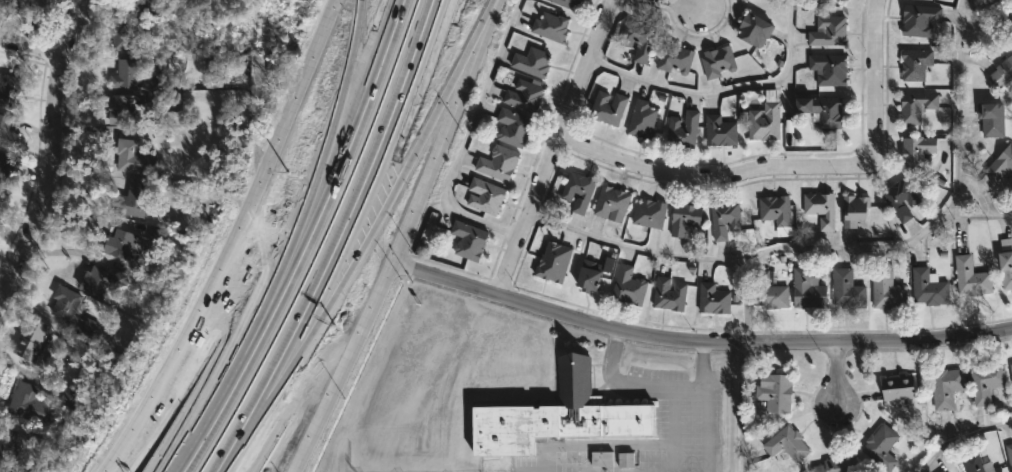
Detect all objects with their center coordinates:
building: (743, 0)
building: (844, 0)
building: (567, 4)
building: (23, 5)
road: (675, 6)
building: (147, 7)
building: (919, 20)
building: (550, 27)
building: (754, 30)
building: (828, 31)
building: (122, 35)
building: (638, 39)
road: (30, 47)
building: (674, 59)
building: (717, 62)
building: (531, 63)
building: (915, 64)
building: (828, 69)
building: (1002, 74)
building: (123, 75)
road: (720, 87)
road: (453, 88)
building: (8, 91)
building: (524, 97)
building: (915, 107)
building: (607, 108)
road: (334, 110)
building: (122, 111)
building: (821, 111)
building: (992, 119)
building: (642, 120)
building: (764, 123)
building: (512, 128)
building: (682, 130)
building: (719, 131)
building: (6, 134)
road: (464, 138)
road: (47, 139)
road: (550, 146)
building: (916, 150)
road: (377, 156)
building: (131, 158)
building: (497, 164)
building: (998, 167)
building: (5, 168)
road: (788, 170)
road: (402, 173)
building: (577, 191)
road: (974, 192)
building: (484, 196)
building: (1, 197)
building: (131, 200)
building: (900, 200)
building: (611, 204)
building: (820, 209)
building: (775, 210)
building: (854, 211)
building: (649, 214)
road: (979, 216)
building: (684, 218)
building: (724, 220)
road: (402, 238)
building: (468, 241)
road: (299, 242)
road: (232, 243)
building: (112, 244)
road: (844, 247)
road: (286, 262)
building: (553, 263)
building: (1006, 264)
building: (607, 265)
road: (1, 269)
road: (340, 270)
building: (588, 278)
building: (971, 278)
building: (99, 282)
building: (628, 287)
building: (928, 288)
building: (846, 290)
building: (886, 290)
building: (769, 291)
building: (807, 291)
building: (669, 295)
building: (713, 299)
building: (63, 303)
building: (28, 338)
road: (697, 346)
road: (702, 353)
building: (1011, 362)
building: (1011, 368)
road: (701, 374)
road: (829, 379)
building: (987, 382)
road: (632, 383)
building: (898, 386)
building: (947, 386)
road: (265, 390)
building: (775, 392)
building: (28, 404)
building: (557, 415)
road: (706, 429)
road: (958, 434)
building: (786, 443)
building: (8, 444)
building: (881, 446)
building: (1009, 453)
building: (601, 459)
building: (973, 463)
building: (838, 464)
building: (995, 469)
building: (942, 471)

